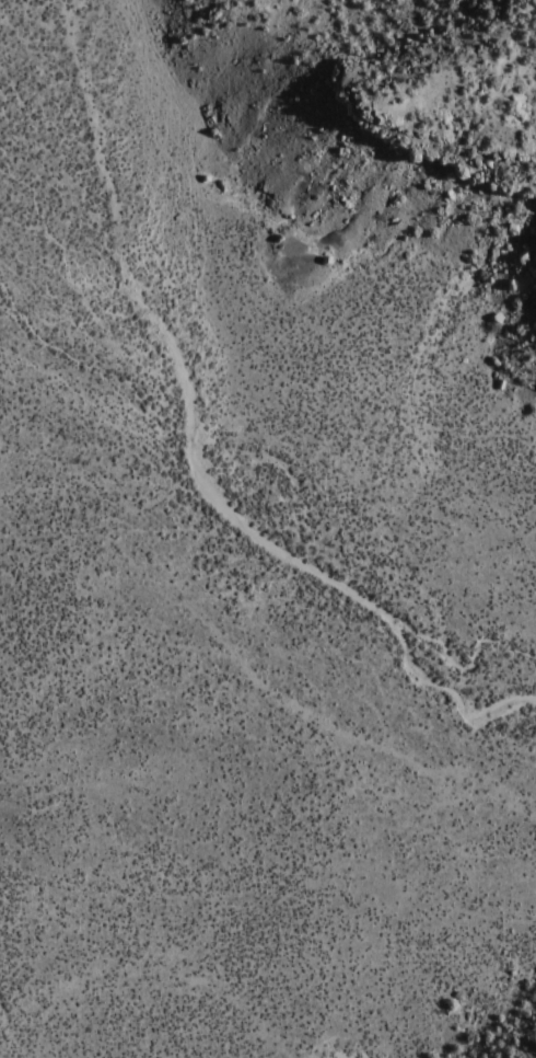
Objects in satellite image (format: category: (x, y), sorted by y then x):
road: (72, 942)

